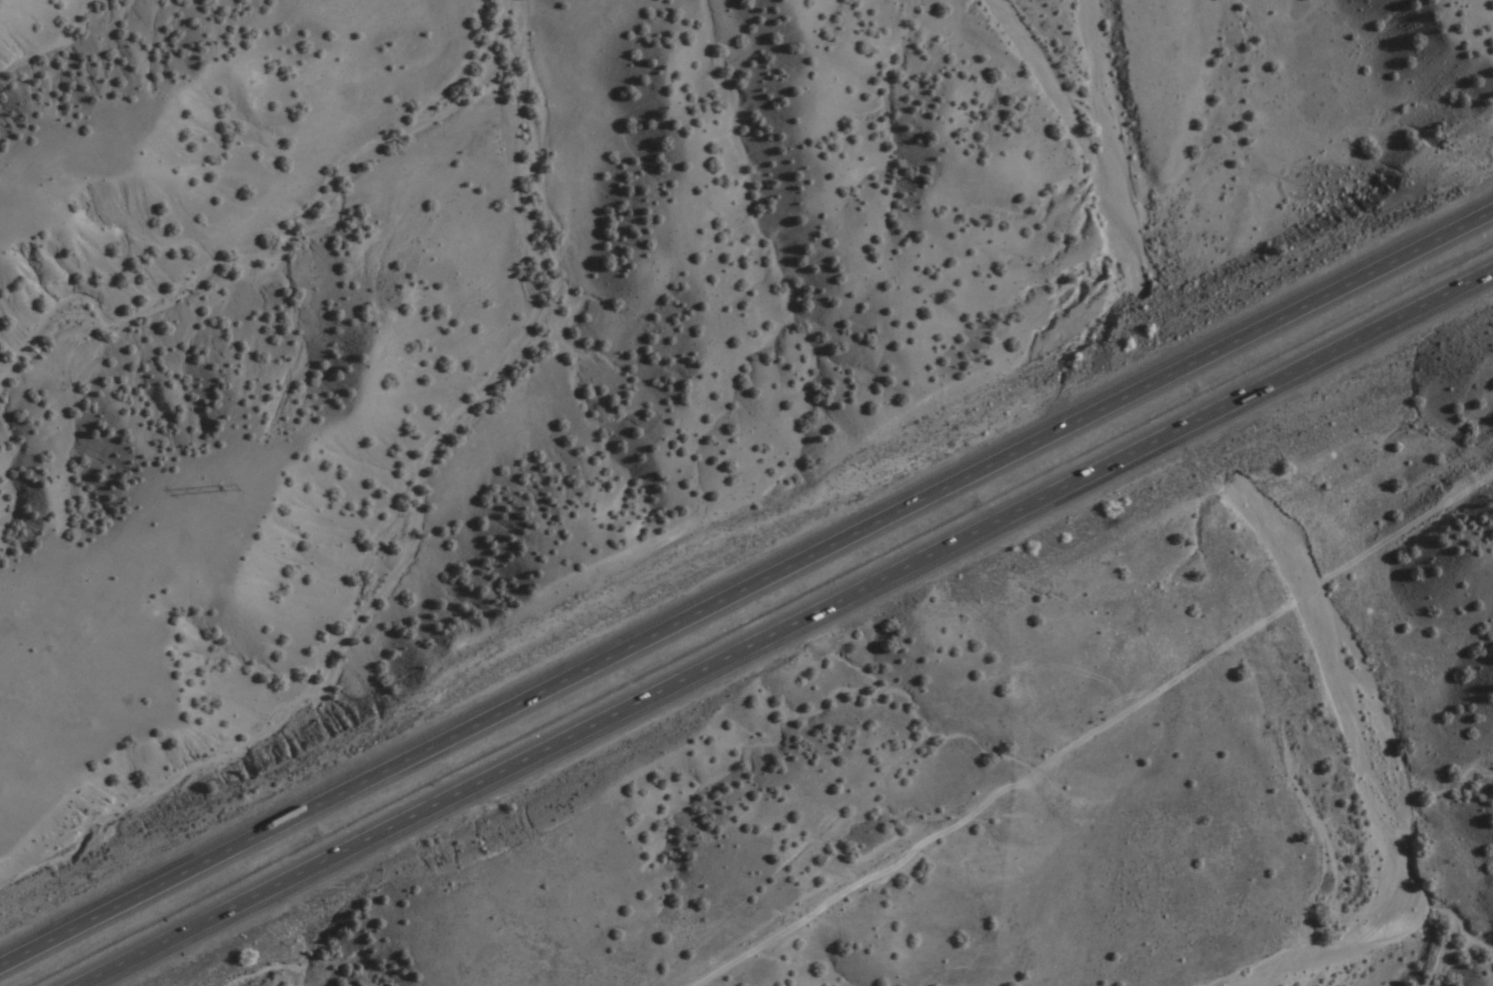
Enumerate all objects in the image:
road: (745, 592)
road: (781, 628)

